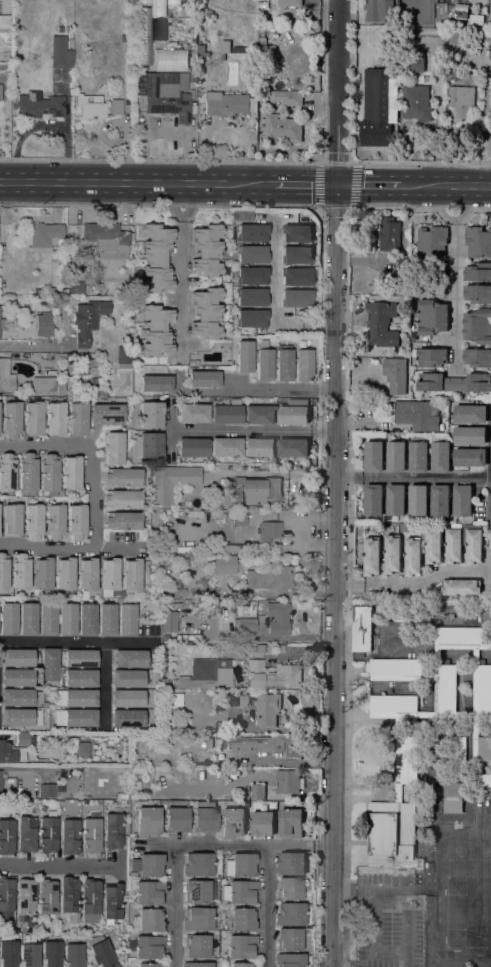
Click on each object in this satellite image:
building: (145, 2)
building: (160, 2)
building: (174, 2)
building: (186, 2)
building: (289, 2)
building: (264, 4)
building: (378, 10)
building: (5, 21)
building: (59, 29)
building: (68, 29)
building: (455, 36)
building: (124, 37)
building: (264, 39)
building: (144, 49)
building: (238, 49)
building: (173, 50)
building: (60, 52)
building: (201, 52)
building: (18, 57)
building: (412, 62)
building: (451, 64)
building: (2, 67)
building: (191, 69)
building: (1, 92)
building: (166, 96)
building: (287, 97)
building: (393, 100)
building: (460, 100)
building: (416, 102)
building: (228, 103)
building: (39, 105)
building: (91, 106)
building: (116, 107)
building: (377, 108)
building: (282, 128)
road: (352, 149)
street lamp: (0, 158)
street lamp: (90, 159)
road: (161, 159)
street lamp: (176, 159)
road: (351, 159)
street lamp: (267, 161)
road: (139, 182)
road: (307, 184)
traffic signals: (336, 185)
road: (366, 185)
road: (443, 185)
road: (455, 221)
building: (252, 233)
building: (296, 233)
building: (389, 234)
building: (43, 235)
building: (106, 236)
building: (433, 241)
building: (478, 241)
building: (207, 250)
building: (252, 254)
building: (297, 255)
building: (156, 258)
building: (478, 271)
road: (182, 272)
building: (252, 275)
building: (296, 276)
building: (76, 287)
building: (61, 291)
building: (477, 293)
road: (456, 295)
building: (252, 297)
building: (296, 298)
road: (275, 300)
building: (207, 313)
building: (431, 316)
building: (252, 318)
building: (87, 320)
building: (2, 323)
building: (381, 323)
building: (43, 325)
building: (478, 326)
building: (156, 331)
building: (406, 341)
road: (34, 345)
building: (245, 356)
building: (123, 357)
building: (431, 357)
building: (477, 357)
building: (196, 362)
building: (264, 364)
building: (284, 364)
building: (86, 365)
building: (304, 365)
building: (394, 374)
building: (6, 377)
building: (71, 379)
building: (204, 379)
building: (94, 380)
building: (454, 382)
building: (156, 383)
building: (43, 384)
building: (61, 387)
road: (250, 388)
building: (69, 392)
building: (192, 413)
building: (470, 413)
building: (107, 414)
building: (151, 414)
building: (227, 414)
building: (260, 415)
building: (293, 415)
building: (417, 415)
building: (77, 417)
building: (34, 418)
building: (56, 418)
building: (11, 420)
road: (170, 426)
road: (252, 431)
building: (469, 435)
building: (149, 444)
building: (259, 446)
building: (193, 447)
building: (226, 447)
building: (293, 447)
building: (113, 448)
road: (92, 452)
building: (440, 453)
building: (418, 454)
building: (373, 457)
building: (396, 457)
building: (469, 457)
building: (71, 472)
building: (7, 473)
building: (28, 474)
building: (49, 474)
building: (122, 477)
road: (412, 478)
building: (172, 482)
road: (334, 483)
building: (256, 490)
building: (122, 498)
building: (373, 500)
building: (395, 500)
building: (418, 500)
building: (439, 500)
building: (462, 501)
building: (12, 519)
building: (240, 519)
building: (123, 520)
building: (33, 521)
building: (76, 521)
building: (55, 522)
building: (268, 531)
building: (488, 538)
building: (472, 543)
building: (431, 544)
building: (453, 545)
road: (70, 548)
building: (234, 548)
building: (391, 555)
building: (371, 556)
building: (412, 557)
building: (224, 564)
building: (20, 571)
building: (3, 572)
building: (43, 573)
building: (65, 573)
building: (87, 574)
building: (132, 574)
building: (109, 576)
building: (269, 578)
road: (419, 584)
building: (460, 590)
building: (187, 602)
building: (194, 603)
building: (8, 618)
building: (278, 618)
building: (28, 619)
building: (48, 619)
building: (67, 619)
building: (127, 619)
building: (87, 620)
building: (107, 620)
building: (169, 621)
building: (245, 625)
building: (361, 630)
building: (165, 638)
road: (77, 642)
building: (280, 648)
building: (254, 649)
building: (17, 657)
building: (80, 658)
building: (129, 658)
building: (49, 664)
building: (205, 675)
building: (273, 675)
building: (17, 677)
building: (81, 678)
building: (128, 678)
road: (103, 685)
building: (309, 685)
building: (17, 697)
building: (75, 697)
building: (127, 698)
building: (234, 698)
building: (265, 707)
building: (430, 714)
building: (21, 717)
building: (80, 717)
building: (127, 718)
road: (4, 736)
building: (22, 739)
building: (267, 745)
building: (82, 749)
building: (459, 752)
building: (7, 753)
building: (484, 780)
building: (287, 781)
building: (0, 782)
building: (47, 790)
building: (257, 791)
building: (453, 798)
building: (205, 816)
building: (176, 819)
building: (147, 821)
building: (232, 822)
building: (262, 823)
building: (290, 823)
building: (112, 830)
building: (47, 833)
building: (26, 834)
building: (90, 835)
building: (392, 835)
building: (6, 836)
building: (69, 837)
road: (237, 843)
building: (291, 863)
road: (59, 864)
building: (198, 864)
building: (147, 865)
building: (243, 865)
building: (289, 888)
building: (199, 891)
building: (149, 892)
building: (242, 892)
building: (6, 893)
building: (47, 896)
building: (69, 896)
building: (26, 897)
building: (89, 900)
building: (111, 901)
road: (173, 905)
road: (267, 905)
building: (290, 914)
building: (197, 919)
building: (241, 919)
building: (148, 920)
building: (289, 939)
building: (197, 946)
building: (241, 946)
building: (149, 947)
building: (29, 951)
building: (101, 952)
building: (51, 953)
building: (8, 954)
building: (73, 955)
building: (289, 960)
building: (197, 964)
building: (243, 964)
building: (150, 965)

